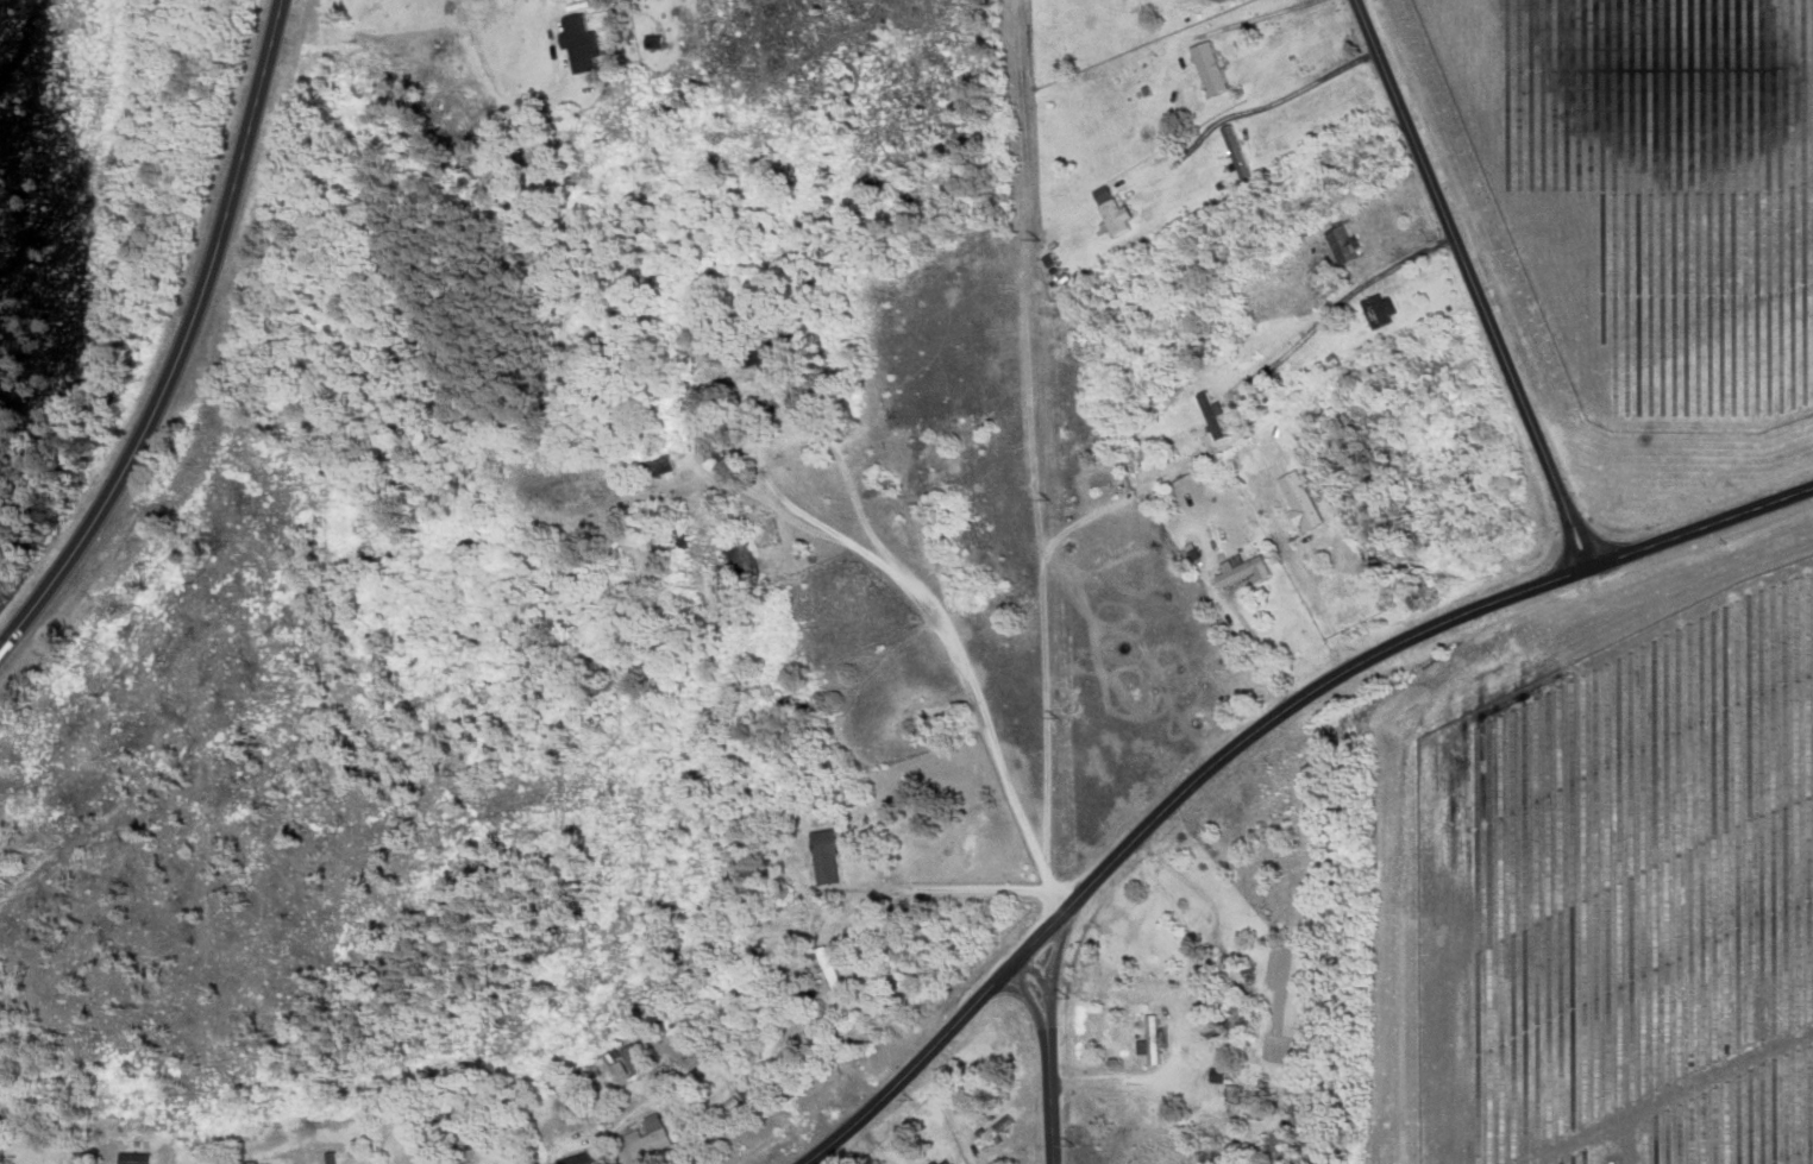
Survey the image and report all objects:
building: (576, 40)
building: (1205, 67)
building: (1232, 152)
building: (1111, 215)
building: (1338, 244)
road: (1473, 283)
building: (1374, 309)
road: (184, 345)
building: (759, 350)
road: (208, 365)
building: (1207, 415)
building: (707, 451)
building: (1294, 499)
road: (150, 508)
building: (736, 560)
building: (1241, 571)
road: (1248, 735)
building: (1273, 826)
building: (820, 857)
building: (1187, 931)
building: (1147, 1040)
building: (789, 1046)
road: (1049, 1053)
building: (628, 1059)
building: (992, 1131)
building: (644, 1139)
building: (132, 1158)
building: (576, 1159)
building: (940, 1162)

